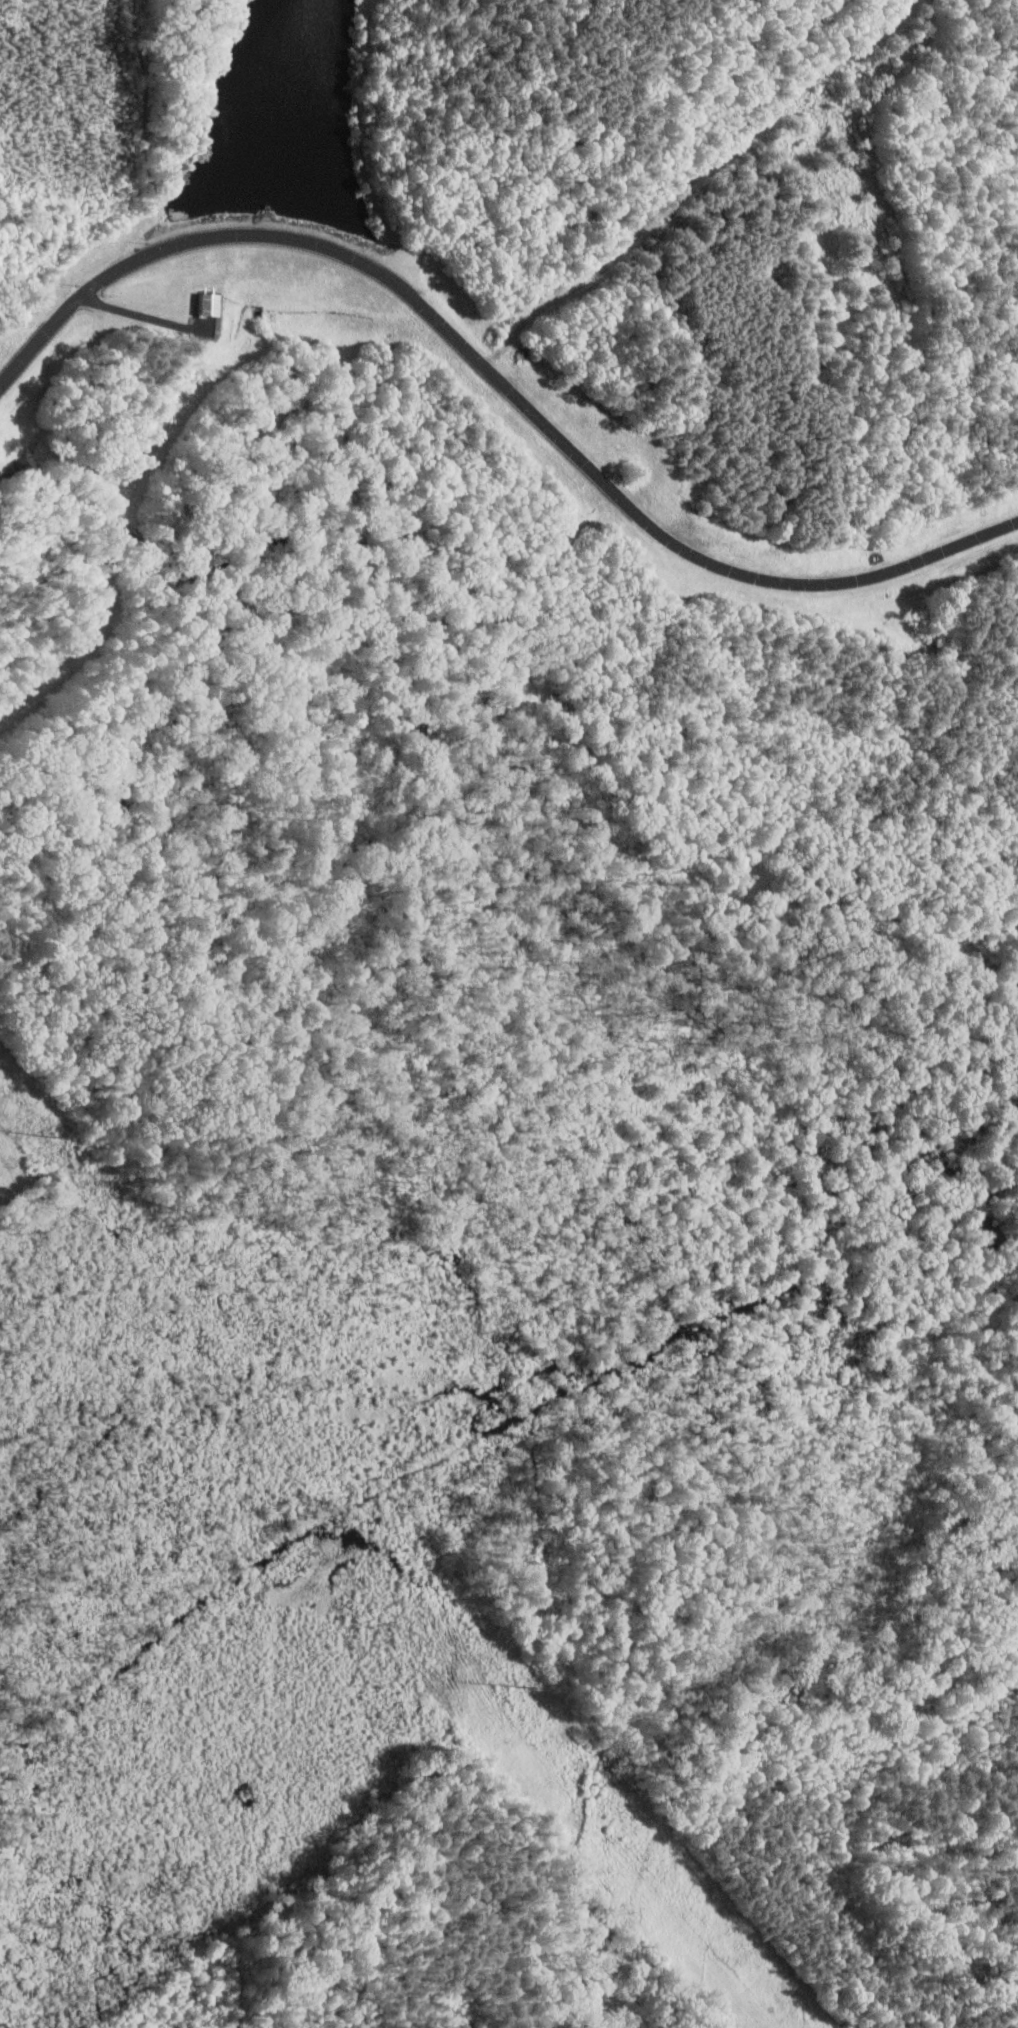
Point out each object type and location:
building: (211, 304)
road: (144, 315)
road: (498, 380)
power tower: (58, 1138)
river: (487, 1442)
power tower: (525, 1686)

